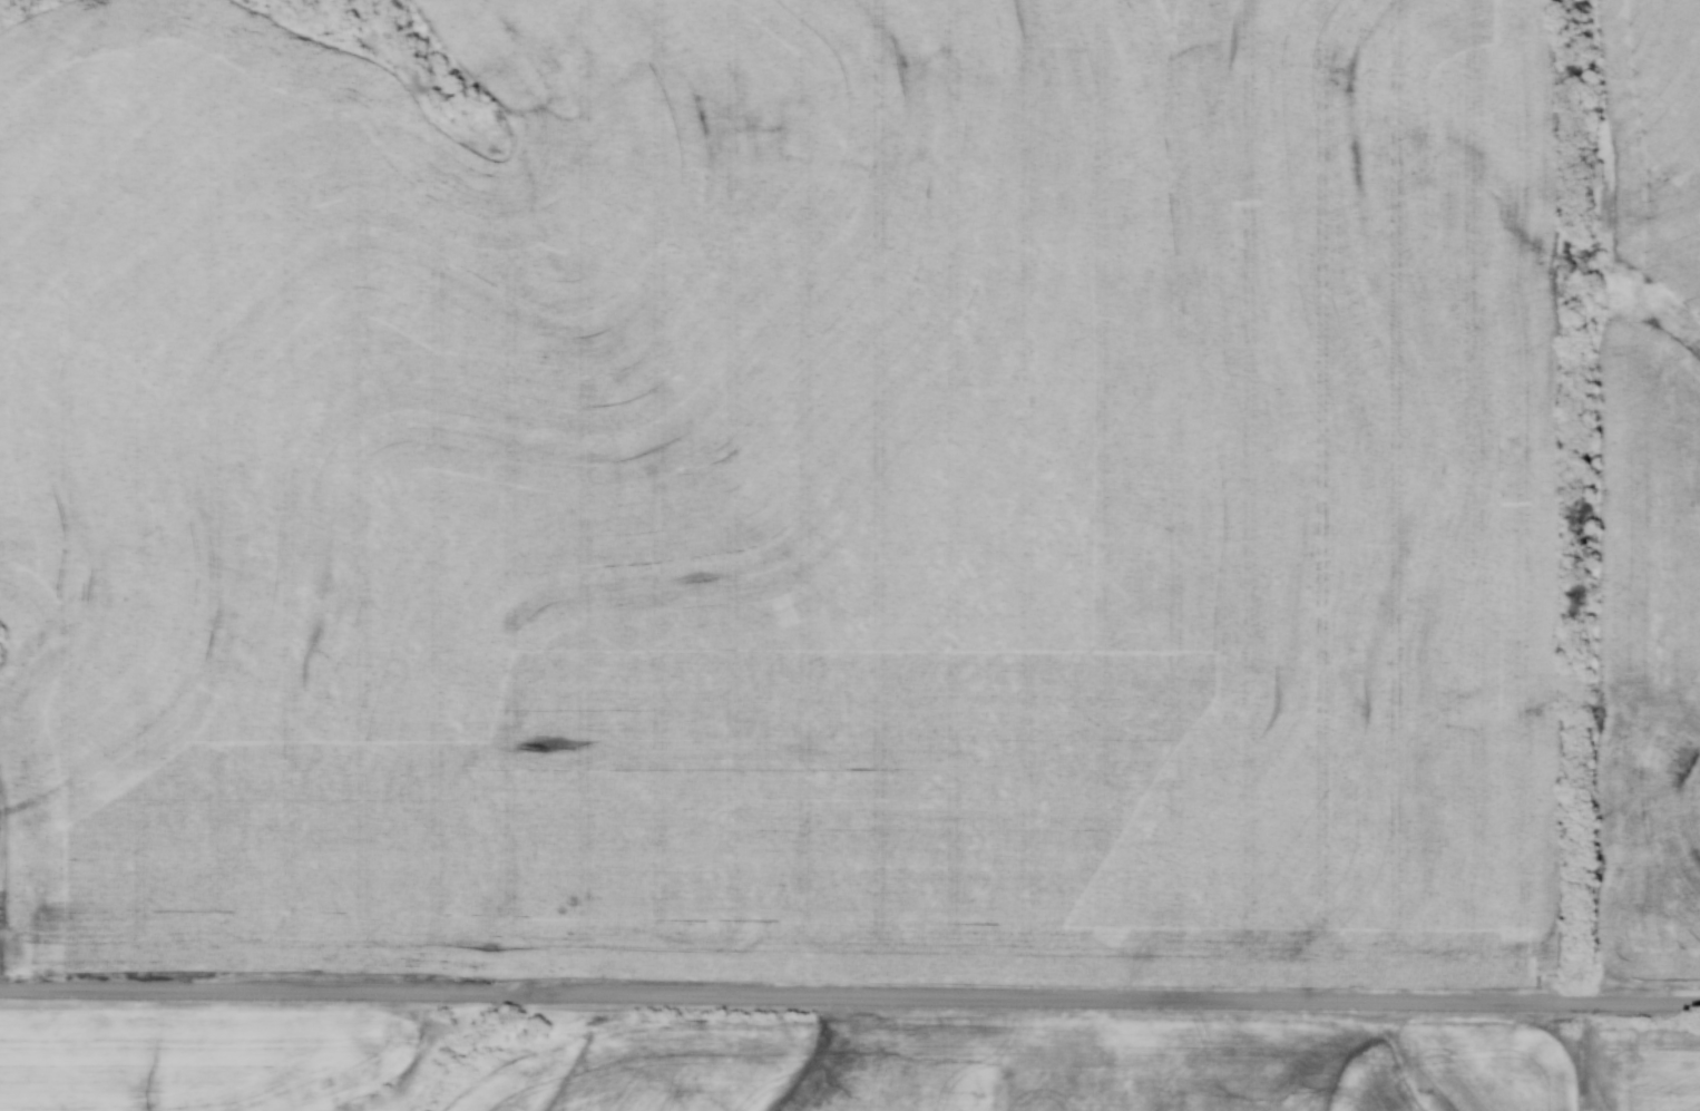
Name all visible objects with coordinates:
road: (850, 1002)

